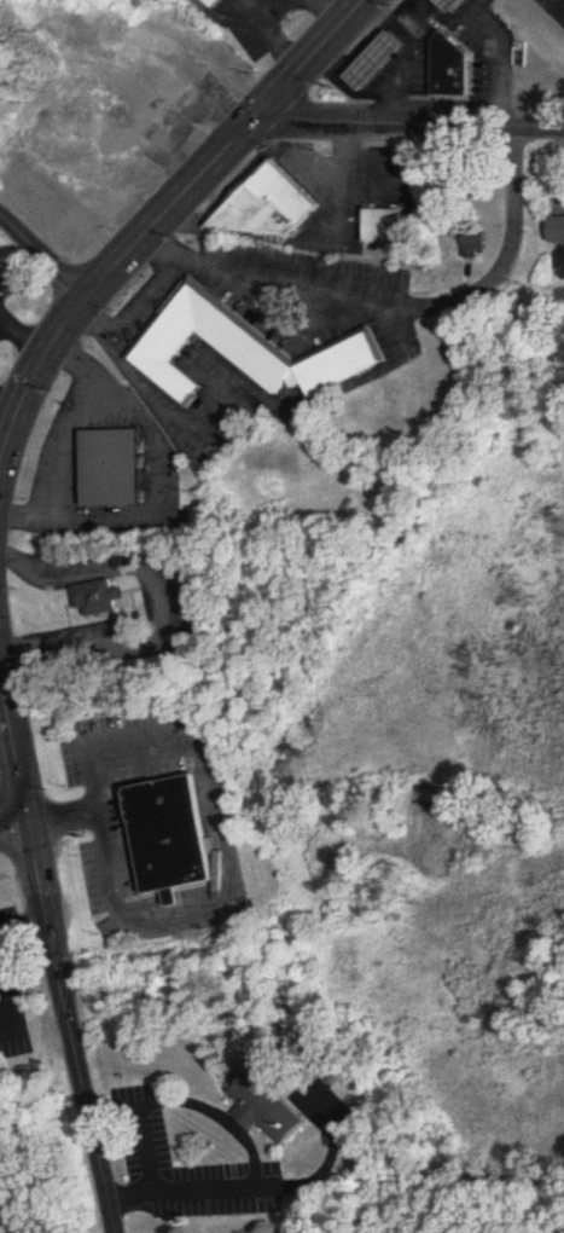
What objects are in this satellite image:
building: (216, 2)
road: (413, 4)
building: (453, 4)
road: (558, 5)
road: (328, 10)
road: (394, 28)
road: (267, 36)
road: (360, 46)
road: (494, 58)
road: (402, 59)
building: (374, 60)
building: (450, 65)
building: (143, 89)
road: (406, 122)
building: (115, 138)
building: (57, 207)
building: (272, 208)
road: (161, 212)
building: (383, 227)
building: (553, 230)
building: (471, 245)
road: (42, 255)
road: (391, 305)
road: (132, 309)
road: (281, 328)
building: (240, 353)
road: (69, 355)
road: (64, 440)
building: (115, 469)
road: (156, 474)
road: (29, 514)
building: (98, 598)
road: (161, 606)
road: (12, 754)
road: (229, 810)
road: (12, 822)
building: (184, 838)
road: (23, 927)
road: (68, 1026)
building: (277, 1111)
road: (146, 1148)
road: (254, 1150)

